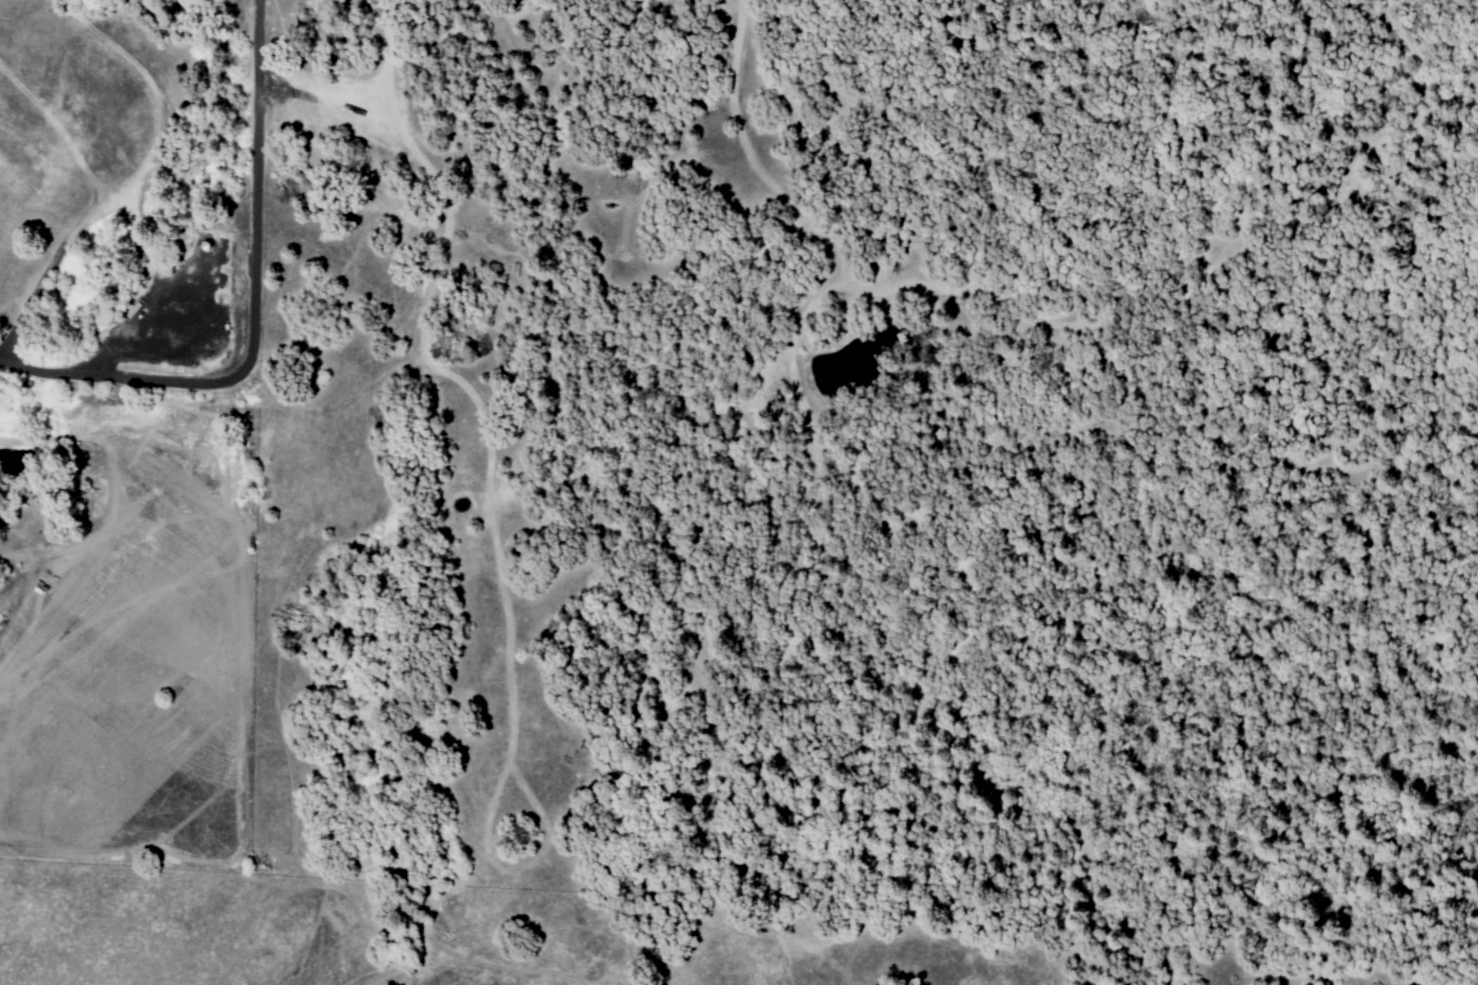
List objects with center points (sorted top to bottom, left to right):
road: (47, 268)
road: (255, 307)

